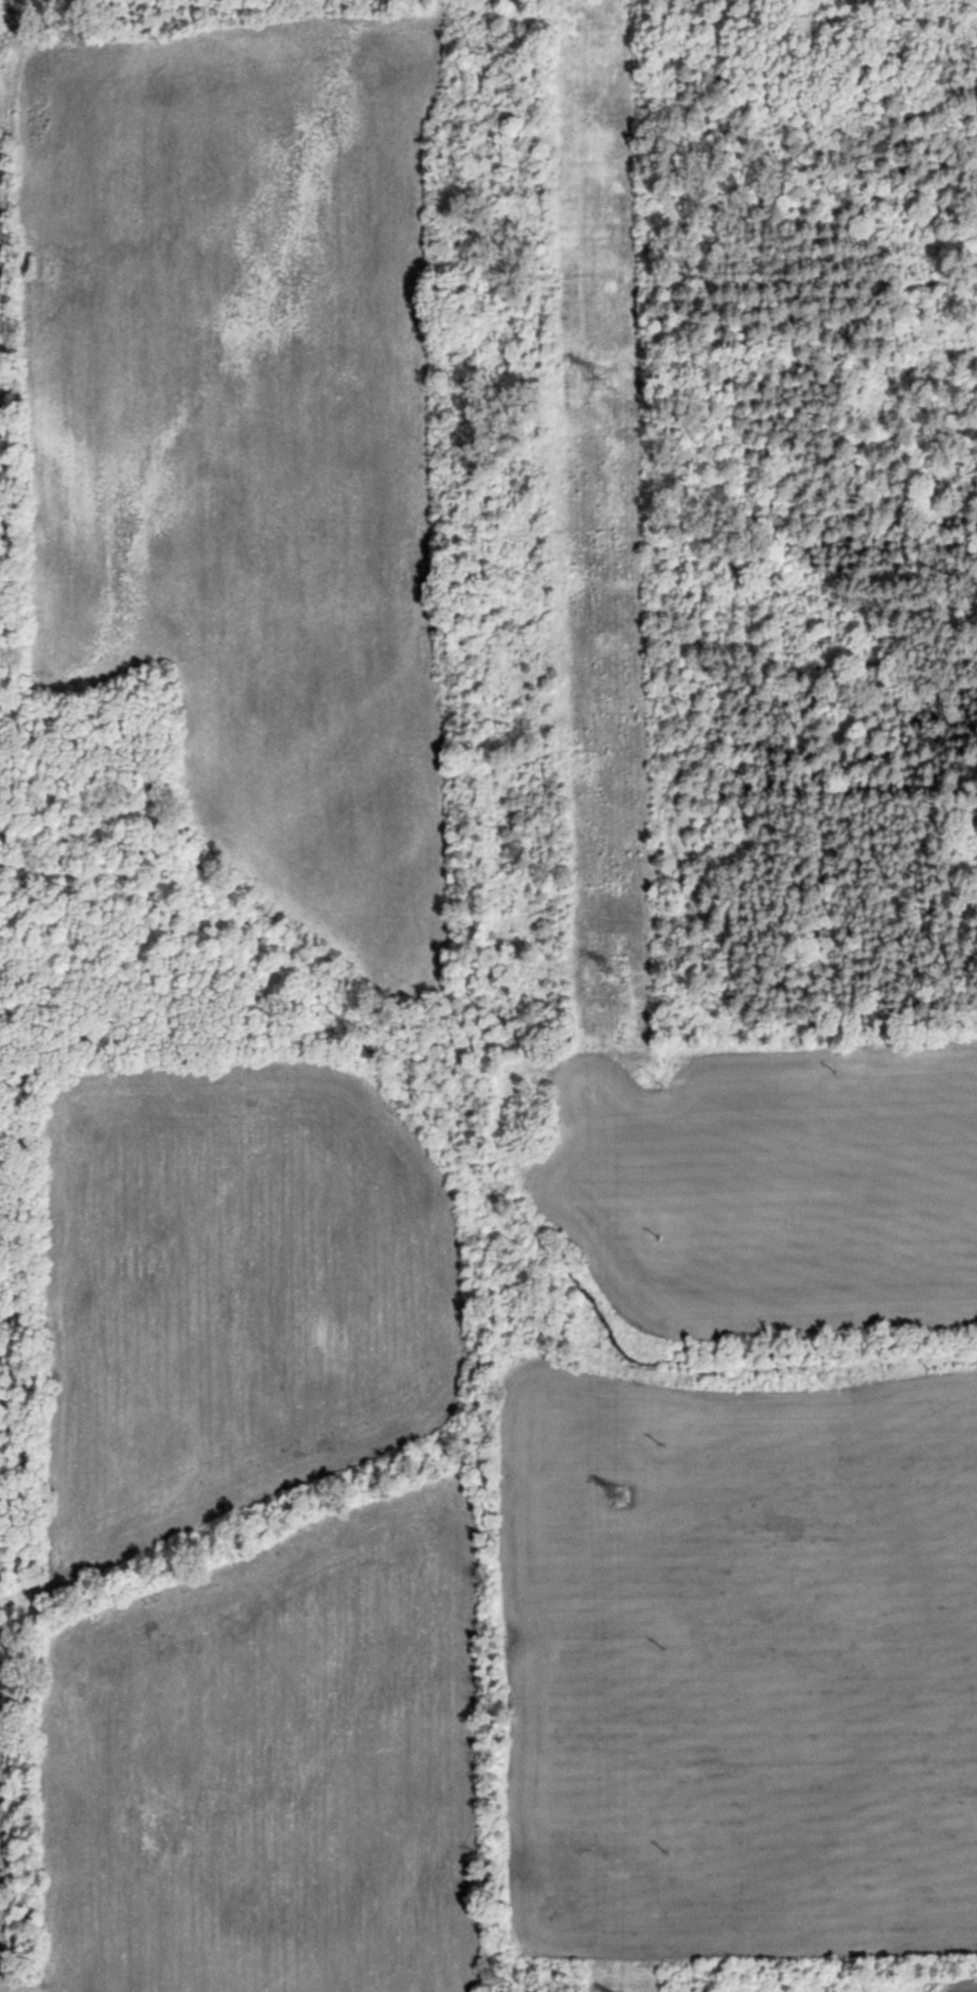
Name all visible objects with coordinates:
power tower: (601, 377)
power tower: (611, 968)
power tower: (618, 1494)

